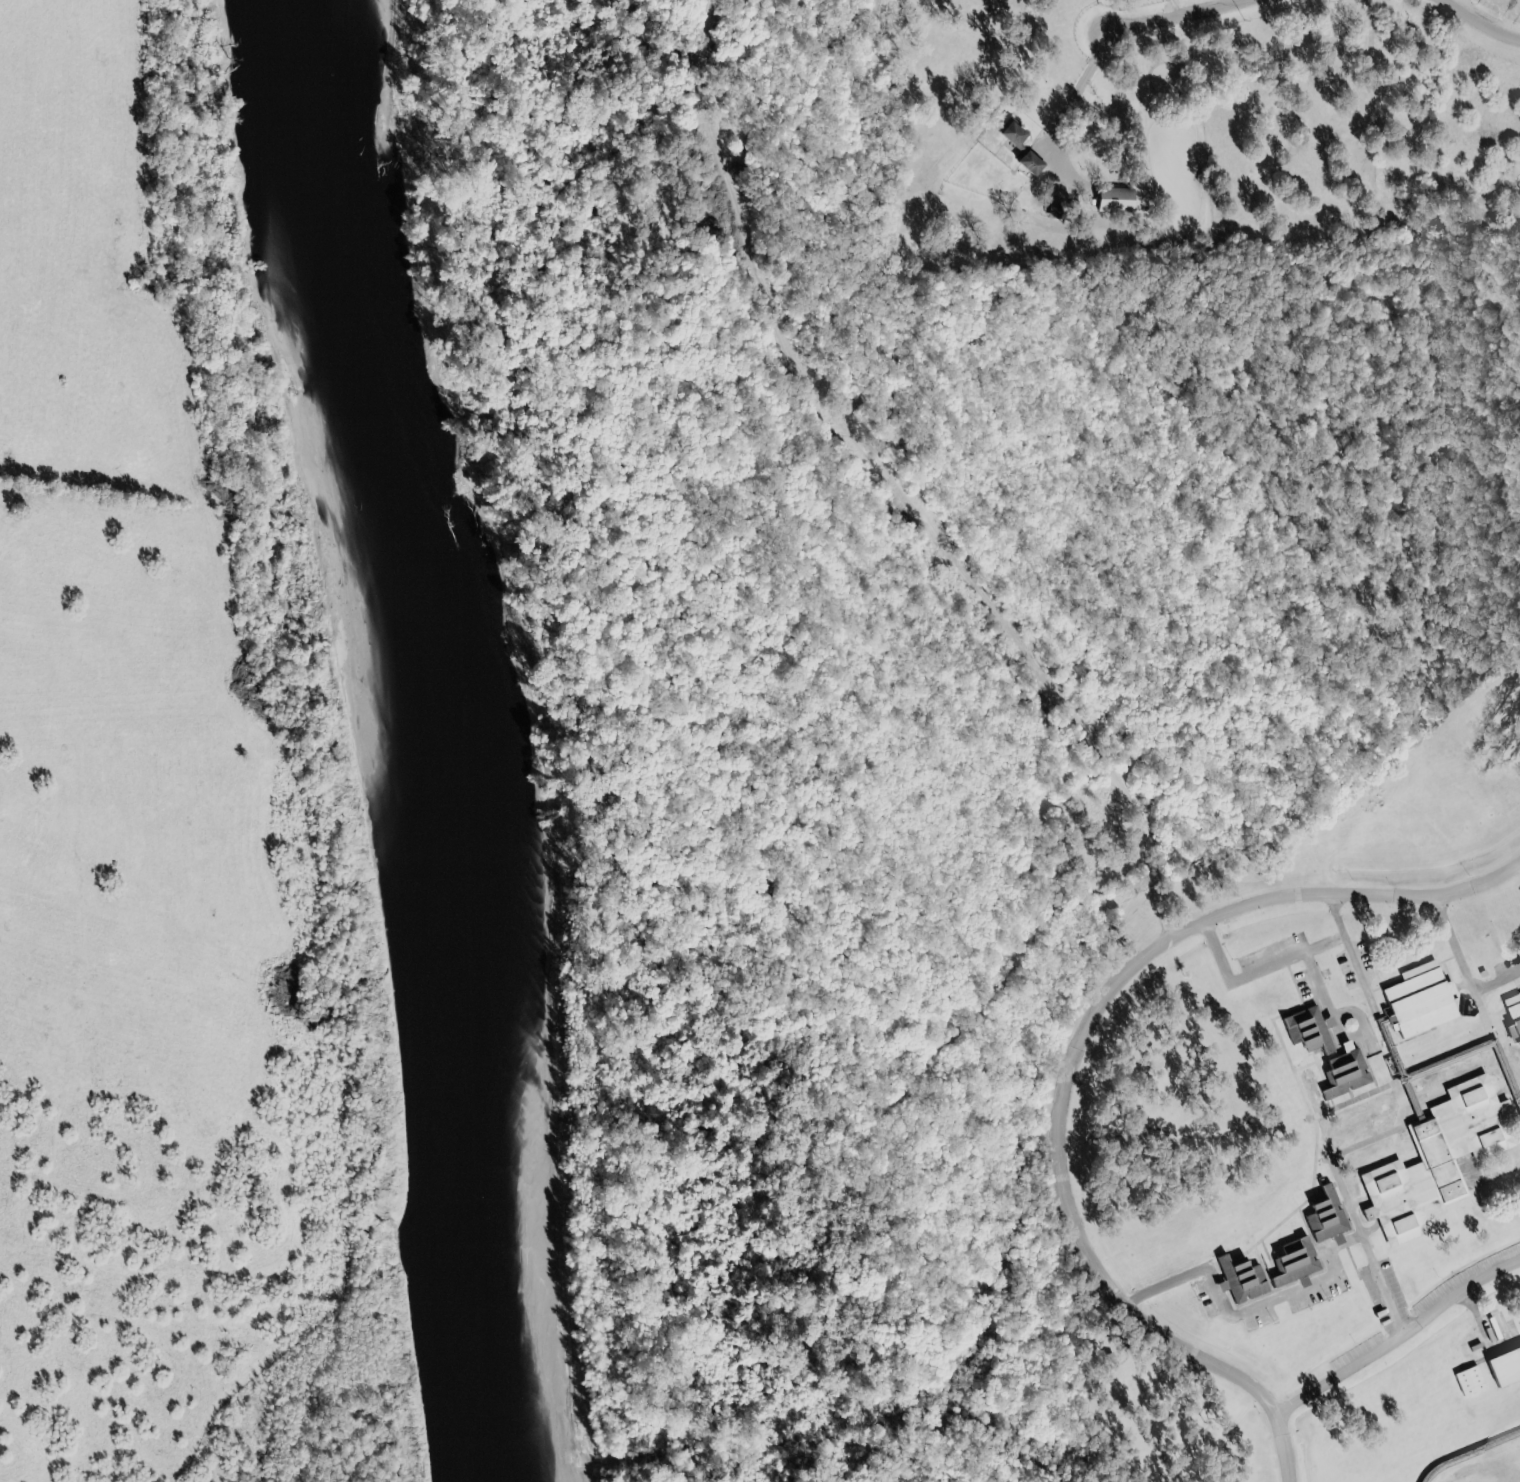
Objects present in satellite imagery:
road: (1173, 16)
road: (1485, 21)
road: (1078, 90)
building: (1014, 133)
building: (1030, 163)
building: (1115, 200)
building: (1057, 211)
road: (881, 461)
river: (442, 736)
road: (1347, 895)
road: (1261, 972)
road: (1369, 987)
road: (1499, 987)
road: (1479, 997)
building: (1421, 1000)
building: (1513, 1016)
road: (1338, 1020)
building: (1350, 1025)
building: (1309, 1030)
building: (1346, 1073)
road: (1400, 1097)
road: (1309, 1124)
building: (1437, 1160)
building: (1327, 1218)
road: (1083, 1234)
building: (1295, 1263)
building: (1241, 1280)
road: (1253, 1310)
road: (1485, 1315)
road: (1400, 1336)
building: (1505, 1367)
building: (1470, 1381)
road: (1472, 1457)

